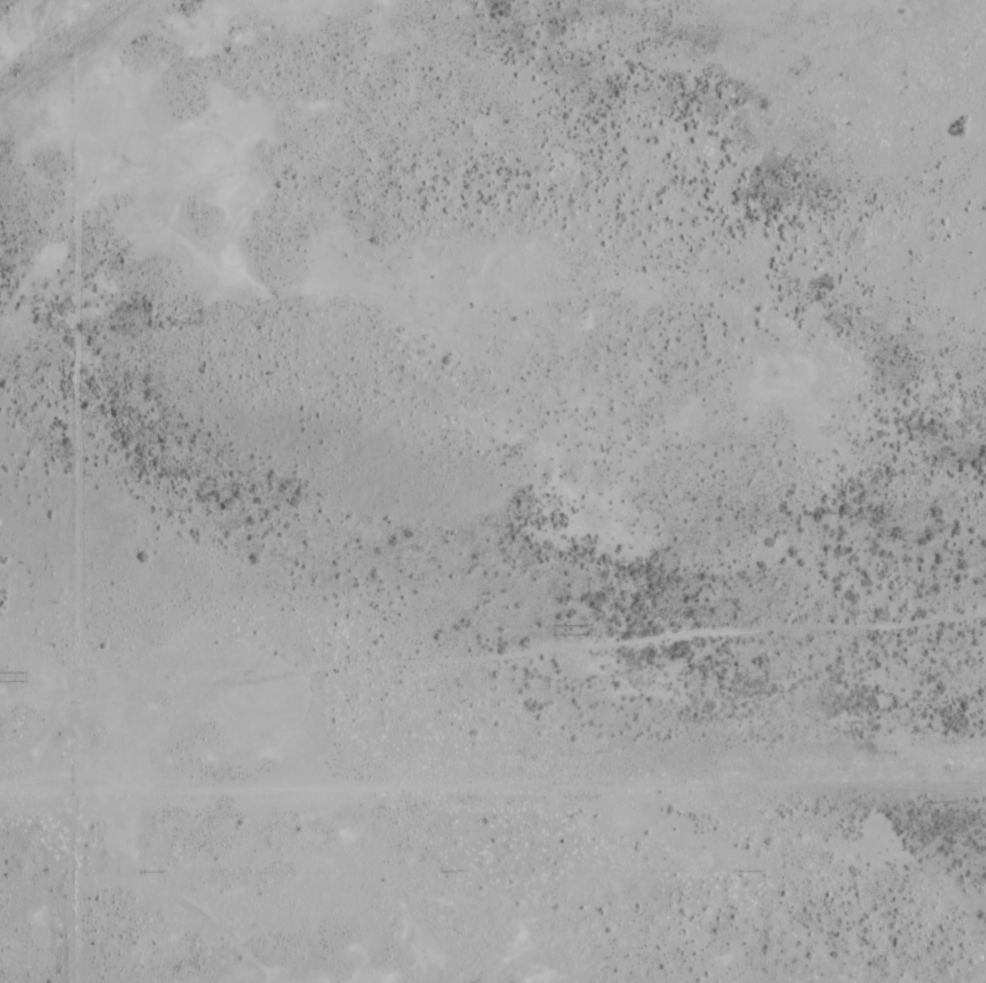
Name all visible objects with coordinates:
road: (74, 58)
road: (493, 653)

